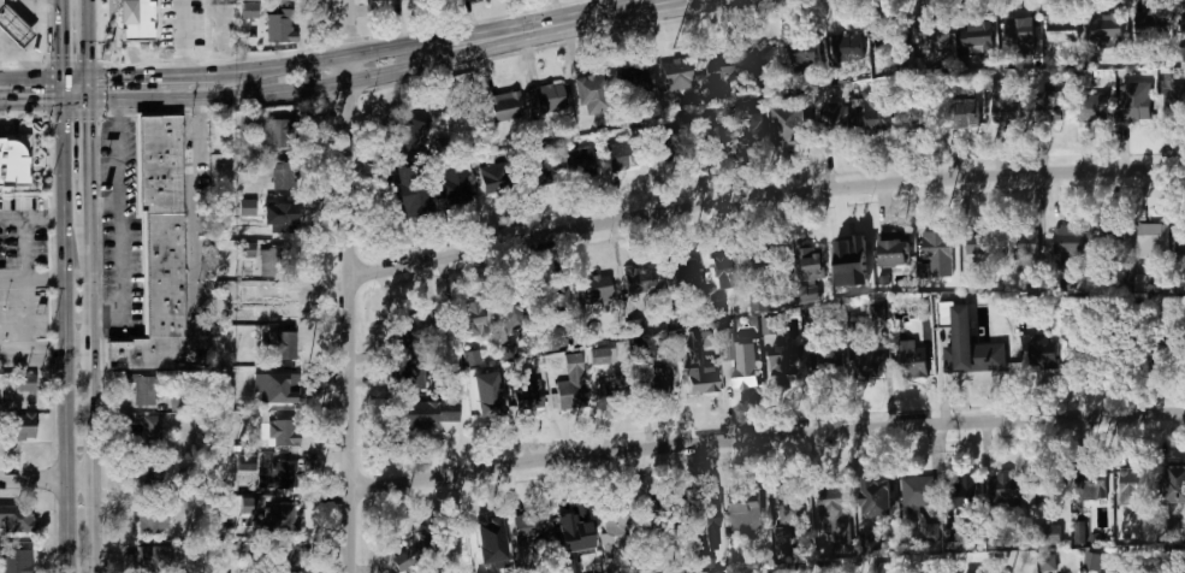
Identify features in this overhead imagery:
building: (282, 0)
building: (249, 8)
road: (611, 14)
building: (136, 20)
building: (1149, 24)
building: (1183, 24)
building: (280, 25)
building: (12, 26)
gas station: (12, 26)
building: (1062, 29)
building: (1104, 30)
road: (510, 33)
building: (978, 34)
building: (1019, 35)
road: (179, 37)
building: (932, 37)
road: (58, 39)
road: (511, 40)
building: (887, 41)
building: (845, 47)
road: (85, 51)
building: (804, 52)
traffic signals: (58, 53)
road: (348, 54)
building: (759, 60)
building: (718, 67)
building: (676, 73)
road: (152, 75)
road: (43, 77)
traffic signals: (112, 77)
building: (632, 79)
road: (271, 90)
building: (589, 94)
building: (550, 98)
road: (28, 102)
traffic signals: (42, 102)
building: (1173, 102)
building: (502, 106)
building: (1133, 107)
building: (1048, 108)
building: (1091, 108)
building: (1006, 110)
building: (876, 111)
building: (961, 116)
building: (917, 118)
traffic signals: (89, 125)
building: (836, 126)
building: (792, 129)
building: (410, 132)
building: (273, 135)
building: (707, 137)
building: (749, 141)
building: (659, 149)
building: (676, 152)
building: (623, 154)
building: (14, 158)
building: (577, 163)
building: (160, 165)
building: (535, 167)
building: (283, 176)
building: (493, 177)
road: (90, 184)
building: (409, 187)
building: (451, 187)
road: (763, 197)
road: (105, 203)
building: (248, 207)
building: (280, 218)
road: (29, 220)
road: (119, 220)
building: (1107, 234)
road: (188, 240)
building: (1153, 241)
building: (934, 242)
building: (1066, 243)
building: (1184, 243)
building: (1025, 244)
building: (978, 247)
building: (248, 249)
building: (894, 249)
building: (851, 252)
building: (268, 261)
building: (763, 261)
building: (806, 264)
building: (723, 265)
building: (165, 276)
building: (681, 276)
road: (29, 279)
building: (639, 279)
building: (1142, 283)
road: (348, 286)
building: (597, 289)
building: (556, 295)
building: (806, 295)
building: (759, 303)
building: (275, 306)
building: (718, 311)
building: (510, 312)
building: (878, 313)
building: (470, 318)
building: (1070, 321)
road: (59, 325)
building: (280, 344)
building: (1036, 344)
building: (1174, 344)
building: (510, 349)
building: (997, 353)
road: (30, 354)
road: (78, 354)
building: (598, 356)
building: (473, 358)
building: (787, 358)
building: (739, 359)
building: (912, 359)
building: (446, 361)
building: (869, 364)
building: (952, 365)
building: (415, 377)
building: (249, 378)
building: (703, 379)
road: (807, 380)
building: (571, 382)
building: (617, 385)
building: (656, 386)
building: (280, 388)
building: (142, 391)
building: (611, 392)
building: (527, 395)
building: (486, 403)
building: (426, 412)
road: (97, 420)
building: (20, 426)
building: (149, 431)
building: (275, 433)
road: (766, 436)
building: (249, 439)
building: (283, 474)
road: (49, 475)
building: (148, 475)
building: (1175, 484)
building: (1131, 486)
building: (1005, 489)
building: (1094, 490)
building: (917, 494)
building: (1048, 495)
building: (964, 496)
building: (878, 500)
building: (834, 509)
building: (786, 513)
building: (705, 515)
building: (745, 516)
building: (17, 518)
building: (150, 518)
building: (275, 520)
building: (573, 524)
building: (527, 526)
building: (615, 528)
building: (954, 532)
building: (1079, 532)
building: (486, 534)
building: (1049, 534)
building: (871, 542)
building: (229, 544)
building: (410, 554)
building: (280, 559)
building: (152, 560)
building: (17, 561)
building: (1048, 562)
building: (1092, 562)
building: (879, 569)
building: (1155, 572)

